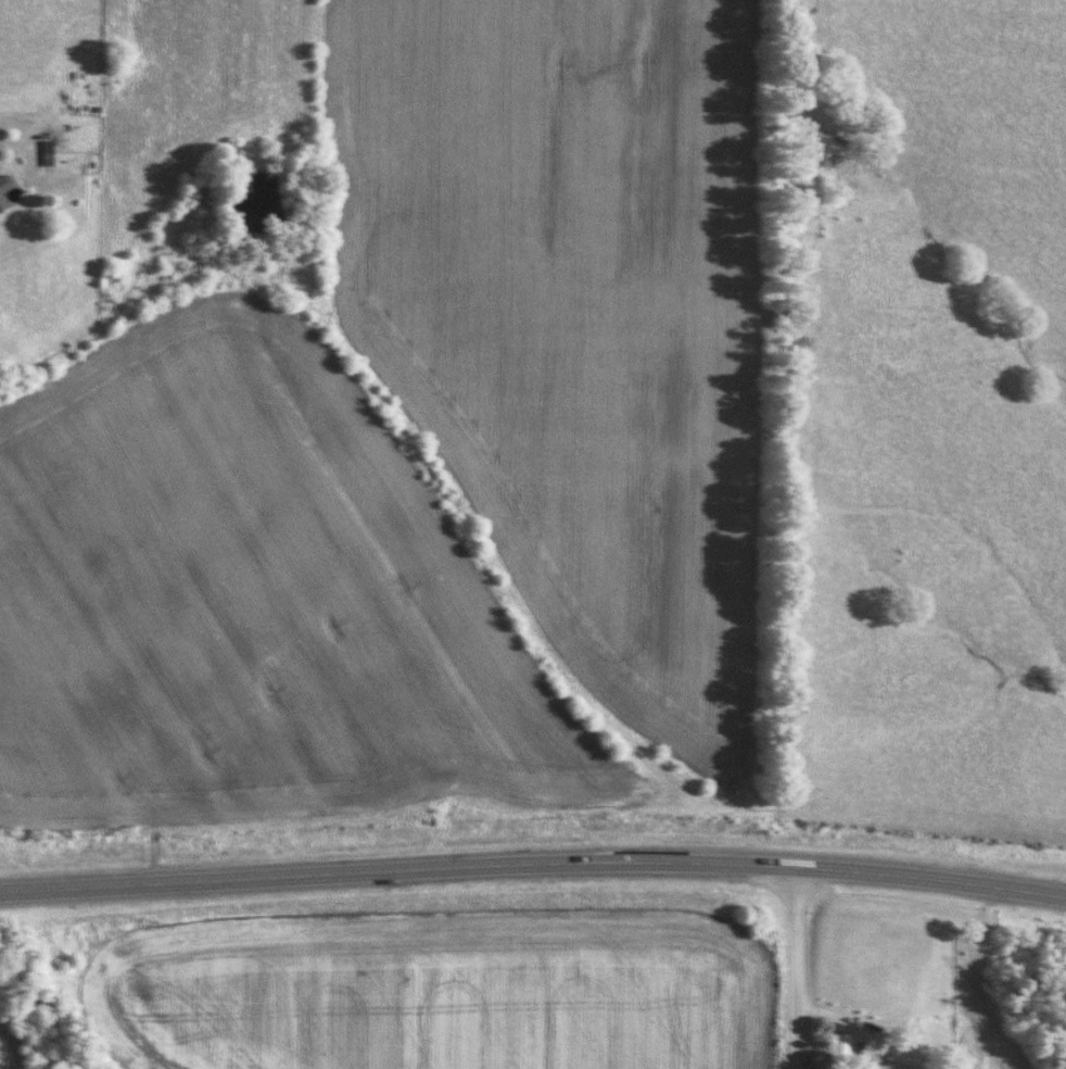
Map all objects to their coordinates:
building: (48, 161)
building: (3, 203)
road: (533, 870)
road: (807, 969)
building: (840, 1046)
building: (890, 1066)

